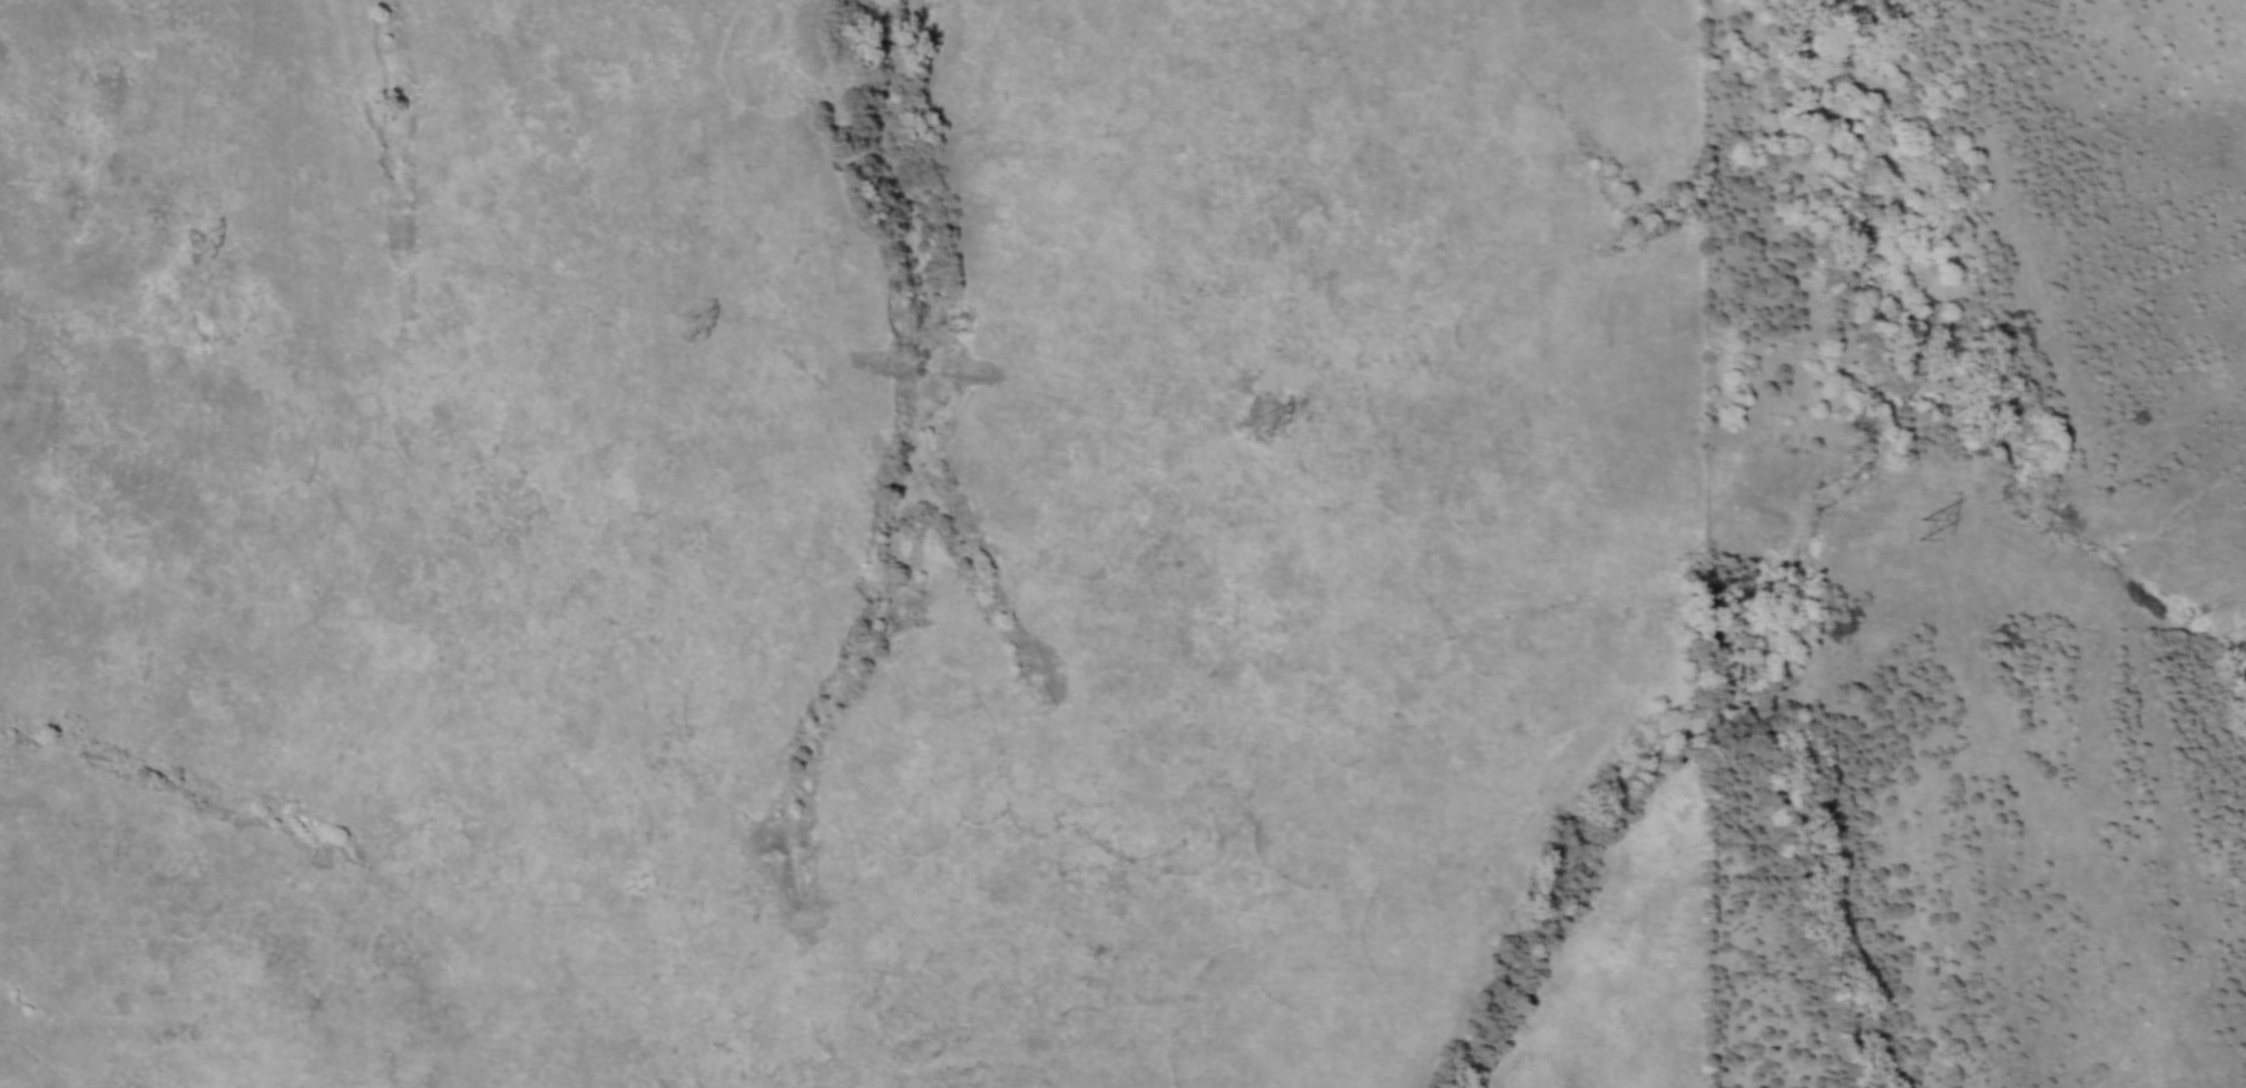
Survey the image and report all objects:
power tower: (194, 246)
power tower: (686, 324)
power tower: (1263, 420)
power tower: (1913, 527)

